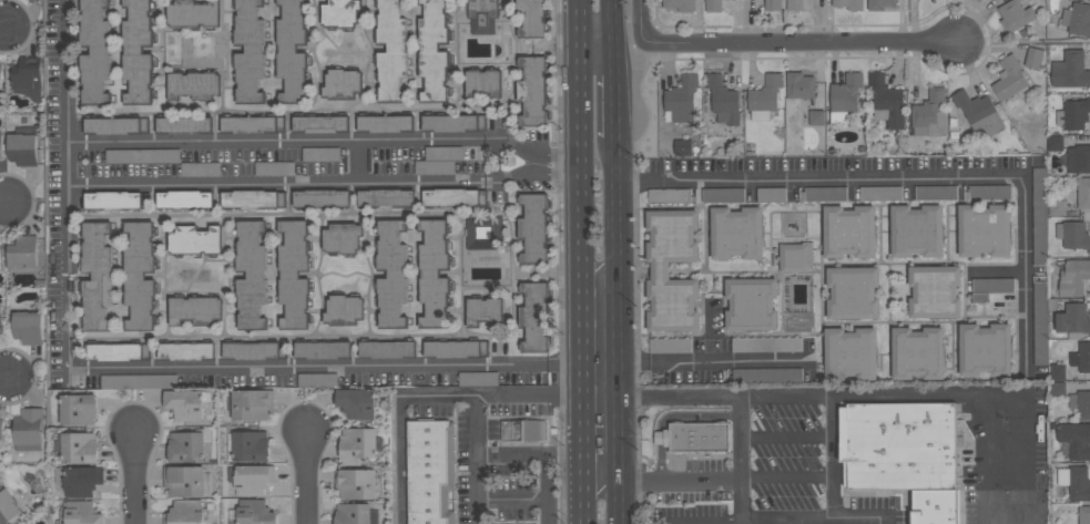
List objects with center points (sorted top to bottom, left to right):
building: (848, 3)
building: (680, 4)
building: (773, 4)
building: (794, 4)
building: (880, 4)
building: (713, 6)
building: (193, 13)
building: (342, 13)
building: (482, 16)
building: (1015, 16)
building: (532, 18)
building: (1077, 18)
road: (611, 19)
road: (639, 23)
road: (3, 25)
road: (594, 39)
road: (808, 41)
road: (636, 42)
building: (391, 48)
building: (293, 50)
building: (434, 50)
building: (94, 51)
building: (249, 51)
building: (137, 52)
building: (1033, 58)
building: (1070, 70)
road: (65, 72)
building: (28, 76)
building: (0, 79)
building: (1011, 79)
building: (483, 83)
building: (343, 84)
building: (194, 85)
building: (799, 85)
road: (613, 89)
building: (532, 91)
building: (845, 96)
building: (765, 97)
building: (681, 99)
building: (723, 100)
building: (886, 101)
building: (978, 112)
building: (1073, 113)
building: (930, 114)
building: (816, 117)
building: (454, 122)
building: (320, 123)
building: (385, 123)
building: (185, 124)
building: (253, 124)
building: (115, 125)
road: (641, 135)
building: (1055, 142)
road: (279, 143)
building: (1, 145)
building: (22, 145)
building: (683, 145)
building: (320, 154)
building: (144, 155)
building: (1079, 158)
building: (439, 160)
road: (493, 162)
road: (556, 162)
road: (533, 163)
road: (356, 164)
road: (67, 166)
building: (288, 168)
road: (822, 184)
road: (279, 186)
building: (873, 193)
building: (936, 193)
building: (1083, 193)
building: (723, 194)
building: (825, 194)
building: (660, 195)
building: (454, 196)
building: (322, 197)
building: (386, 197)
building: (184, 198)
building: (253, 198)
building: (116, 199)
road: (3, 203)
building: (1057, 207)
building: (1039, 216)
building: (534, 228)
building: (984, 229)
building: (916, 230)
building: (485, 232)
building: (849, 232)
building: (736, 233)
building: (1073, 234)
building: (343, 237)
building: (195, 239)
building: (22, 254)
building: (796, 256)
road: (578, 261)
building: (0, 267)
building: (660, 270)
building: (251, 274)
building: (294, 274)
building: (391, 274)
building: (434, 274)
building: (140, 275)
building: (96, 276)
road: (1027, 277)
building: (1073, 277)
building: (990, 287)
building: (935, 291)
building: (853, 292)
building: (751, 304)
building: (344, 309)
building: (196, 310)
building: (485, 311)
building: (534, 316)
building: (1, 319)
building: (1073, 320)
building: (1040, 323)
building: (28, 327)
road: (619, 331)
building: (766, 345)
building: (670, 346)
building: (455, 348)
building: (323, 349)
building: (387, 349)
building: (985, 349)
building: (116, 350)
building: (186, 350)
building: (254, 350)
building: (918, 352)
building: (850, 353)
building: (1081, 357)
road: (714, 360)
road: (564, 363)
road: (600, 363)
road: (217, 369)
building: (1058, 371)
building: (764, 374)
road: (8, 376)
building: (139, 381)
building: (1057, 388)
road: (885, 393)
road: (483, 397)
building: (357, 402)
building: (186, 403)
building: (252, 403)
building: (1080, 403)
building: (79, 409)
road: (404, 425)
building: (28, 429)
building: (1, 430)
building: (520, 430)
building: (695, 438)
road: (787, 438)
building: (1076, 439)
building: (357, 444)
building: (251, 445)
building: (77, 446)
building: (186, 446)
road: (546, 455)
road: (833, 456)
building: (903, 458)
road: (742, 459)
building: (430, 473)
road: (133, 476)
building: (252, 477)
road: (307, 477)
road: (787, 477)
road: (663, 479)
building: (82, 480)
building: (184, 480)
building: (1074, 481)
building: (356, 483)
building: (8, 506)
building: (184, 512)
building: (254, 512)
building: (81, 513)
building: (356, 514)
building: (1084, 514)
road: (773, 521)
road: (887, 521)

